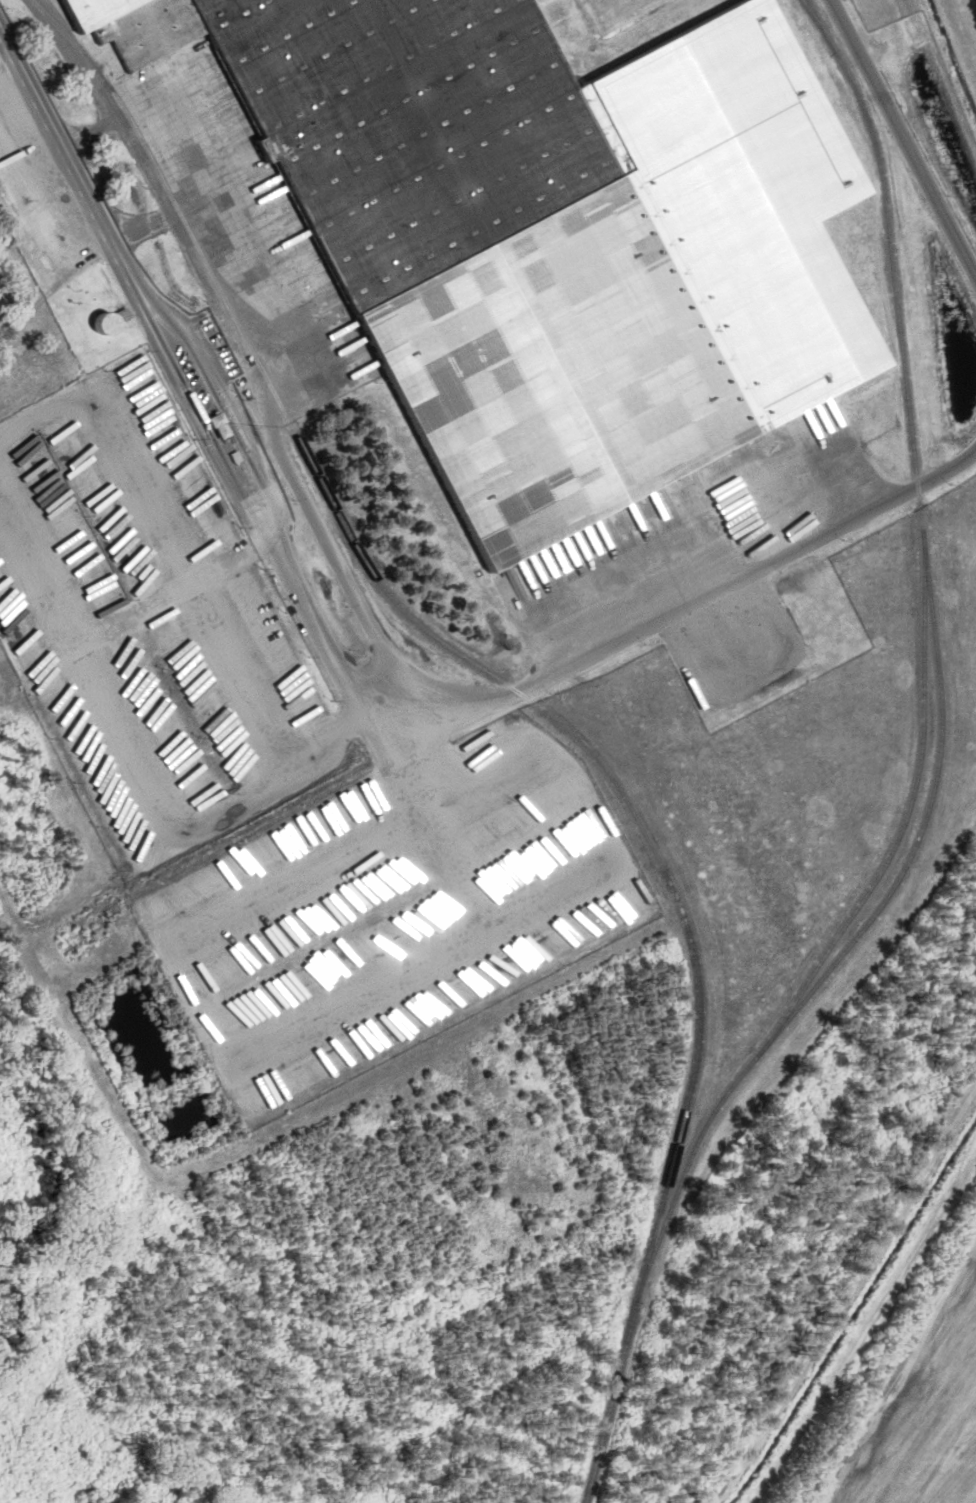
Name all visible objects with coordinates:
railway: (814, 19)
road: (906, 137)
road: (61, 148)
building: (432, 251)
building: (228, 427)
railway: (937, 658)
railway: (540, 706)
building: (636, 900)
building: (615, 910)
building: (593, 923)
building: (543, 949)
building: (479, 983)
building: (448, 1001)
road: (900, 1380)

